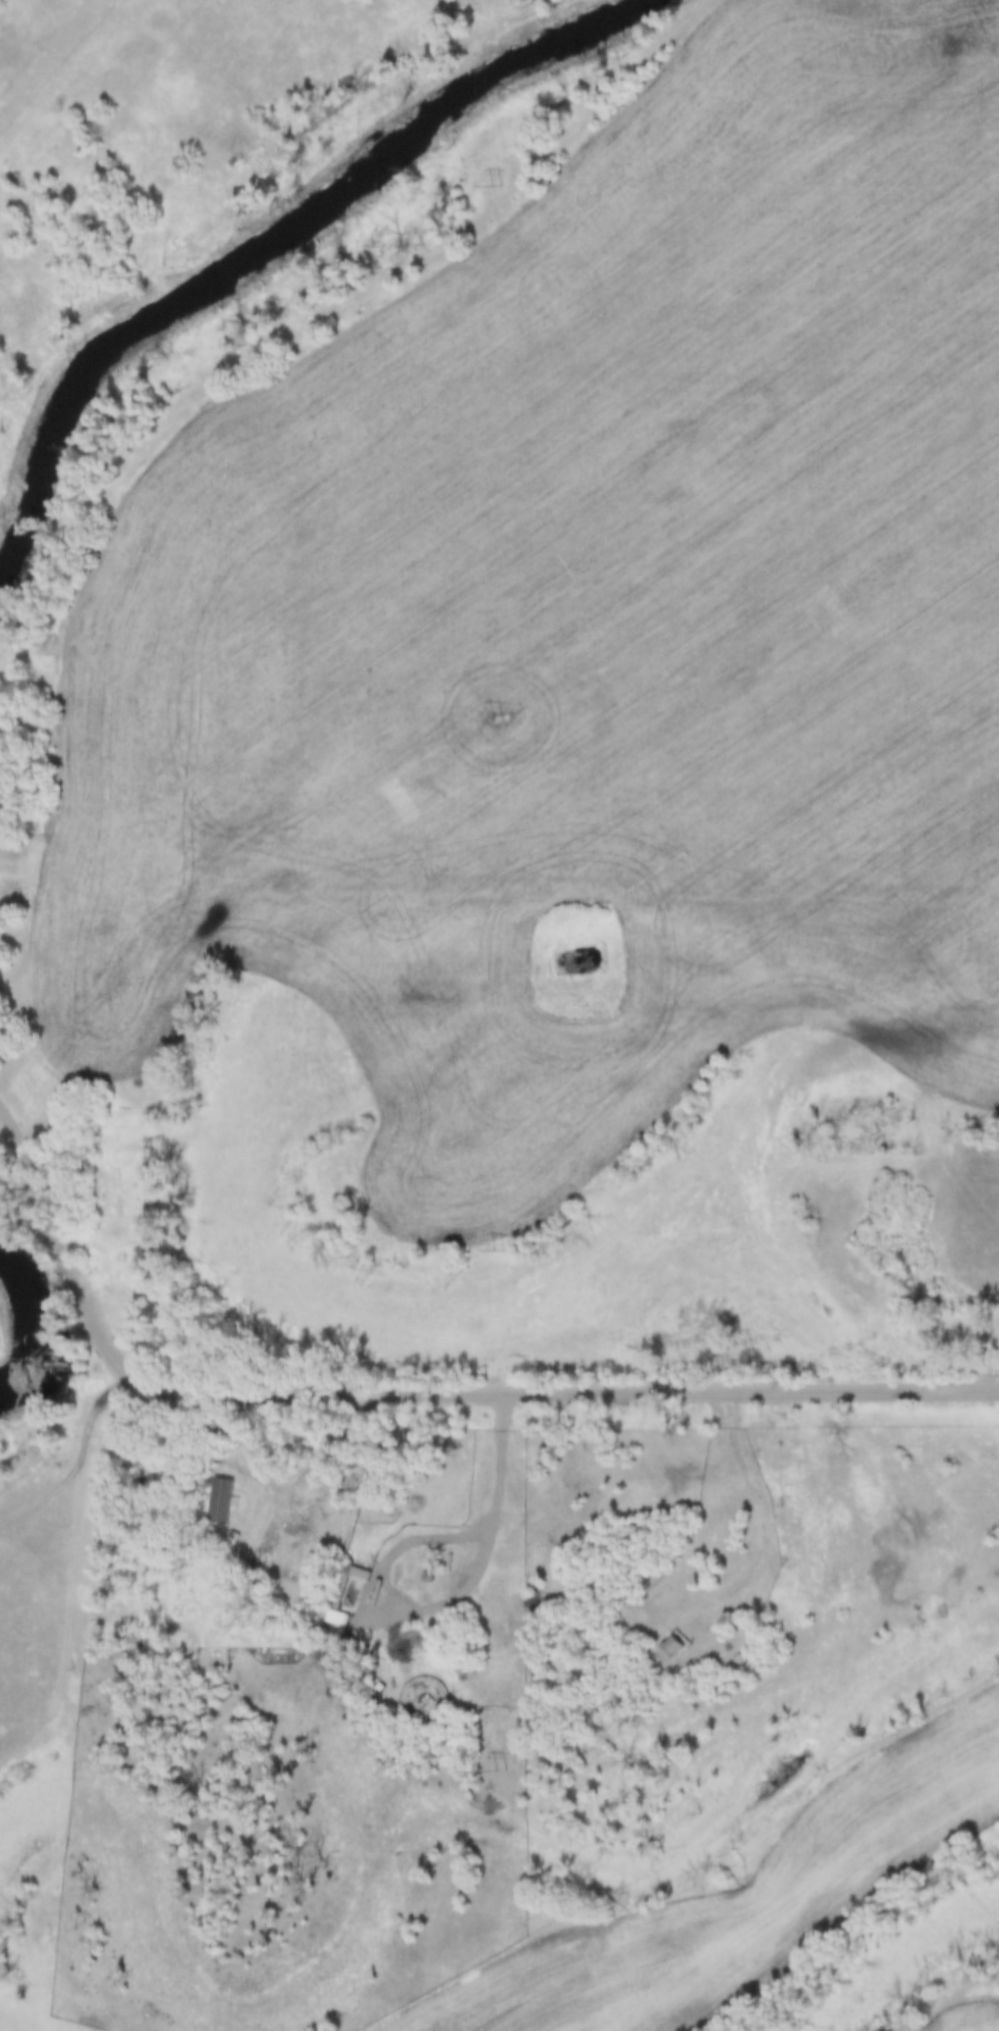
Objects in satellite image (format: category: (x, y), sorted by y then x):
power tower: (501, 183)
river: (254, 248)
power tower: (497, 718)
building: (10, 895)
power tower: (499, 1249)
river: (31, 1325)
road: (121, 1376)
road: (695, 1393)
road: (314, 1465)
building: (226, 1499)
building: (363, 1514)
building: (403, 1641)
building: (674, 1649)
power tower: (509, 1768)

